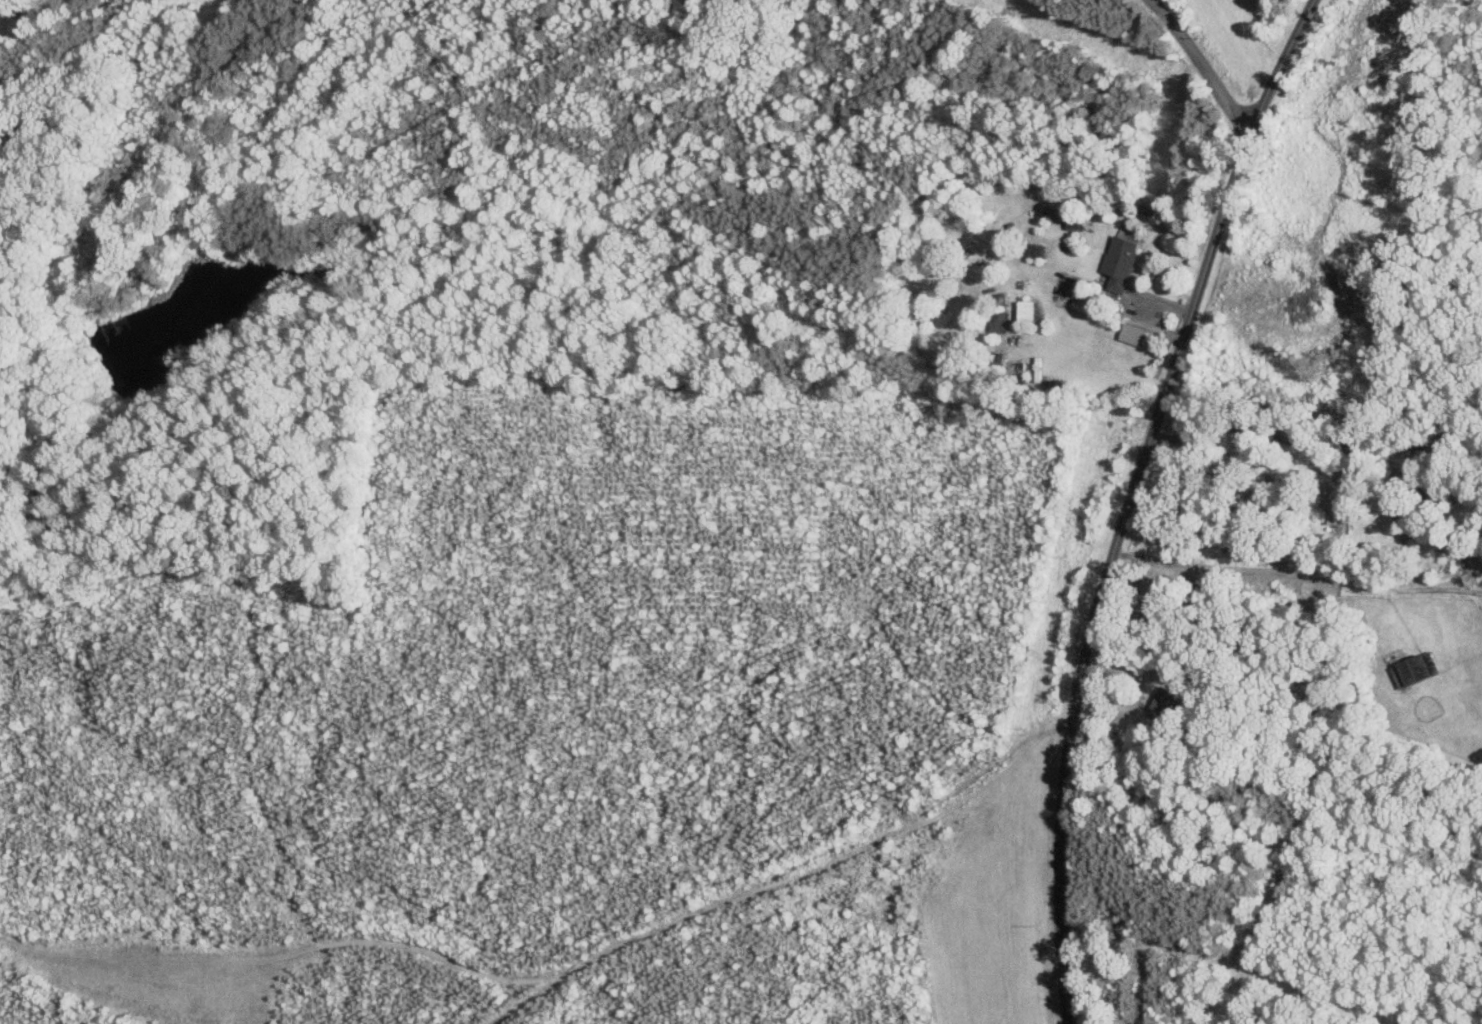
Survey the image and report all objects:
road: (1198, 67)
road: (841, 73)
building: (1064, 215)
building: (1121, 262)
building: (1026, 310)
road: (1249, 428)
road: (1131, 499)
road: (1299, 573)
building: (1415, 670)
road: (1136, 694)
building: (1163, 703)

